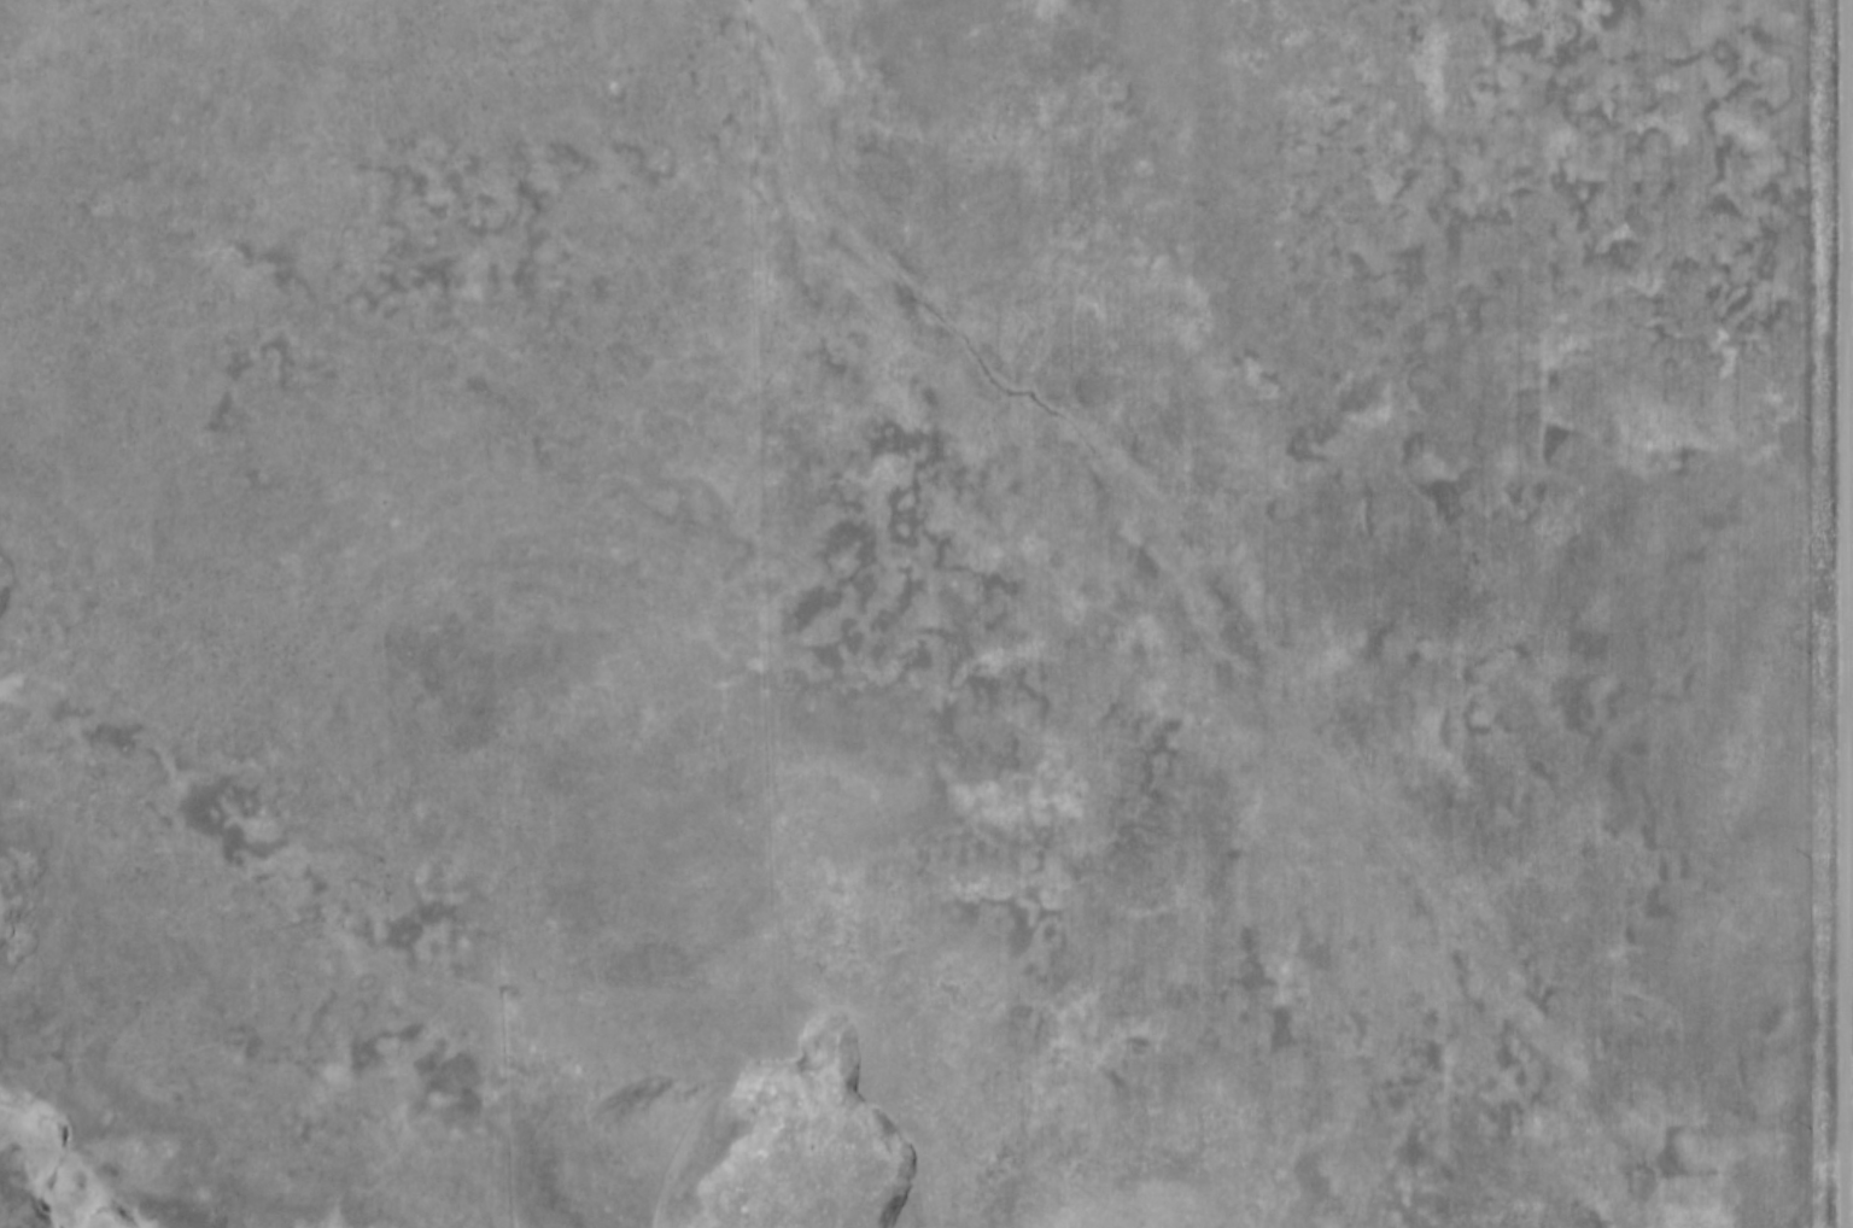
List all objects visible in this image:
road: (1849, 613)

